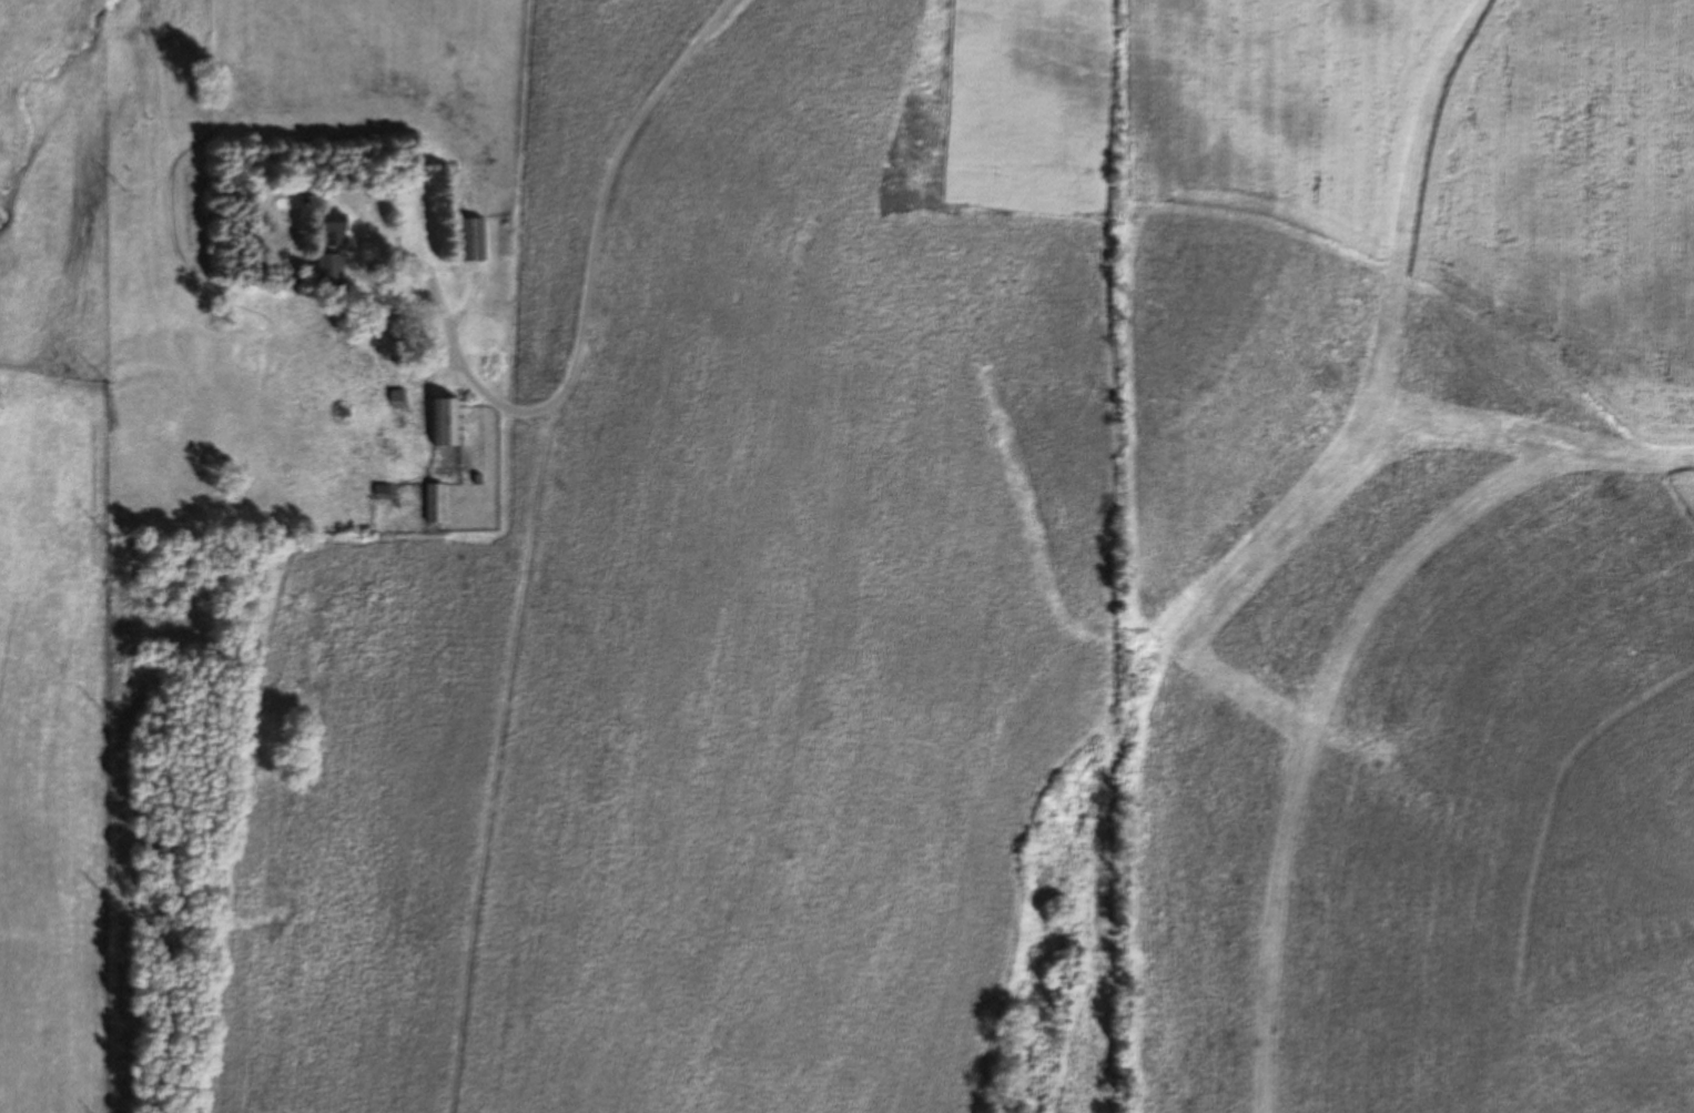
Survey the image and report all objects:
building: (333, 231)
building: (471, 240)
building: (329, 270)
road: (577, 324)
building: (447, 423)
building: (435, 503)

